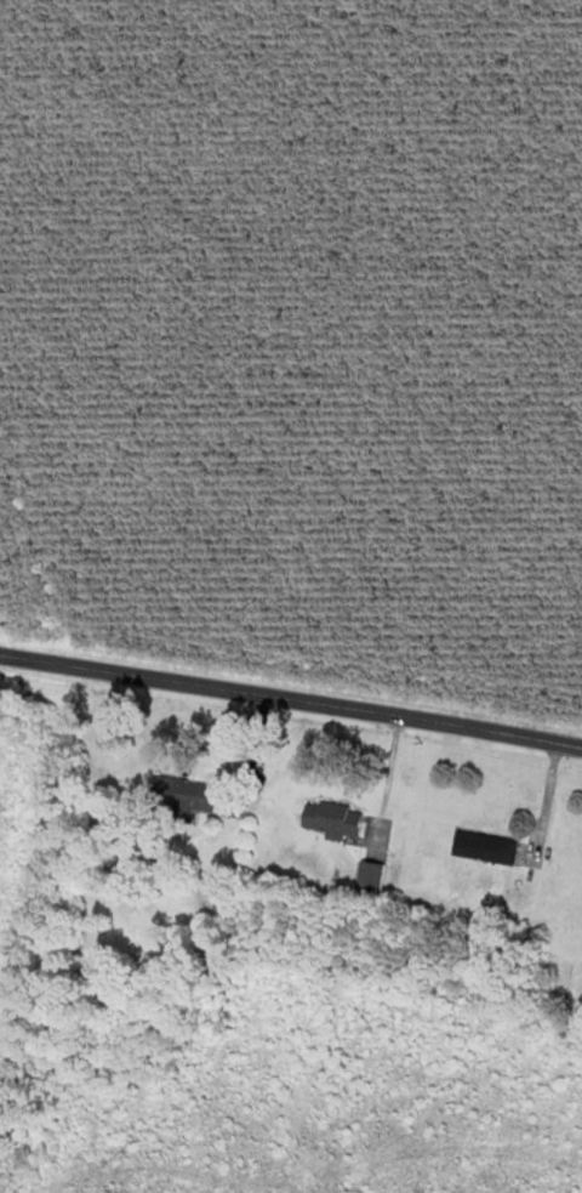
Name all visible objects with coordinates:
road: (291, 701)
building: (187, 796)
building: (330, 820)
building: (484, 848)
building: (369, 879)

